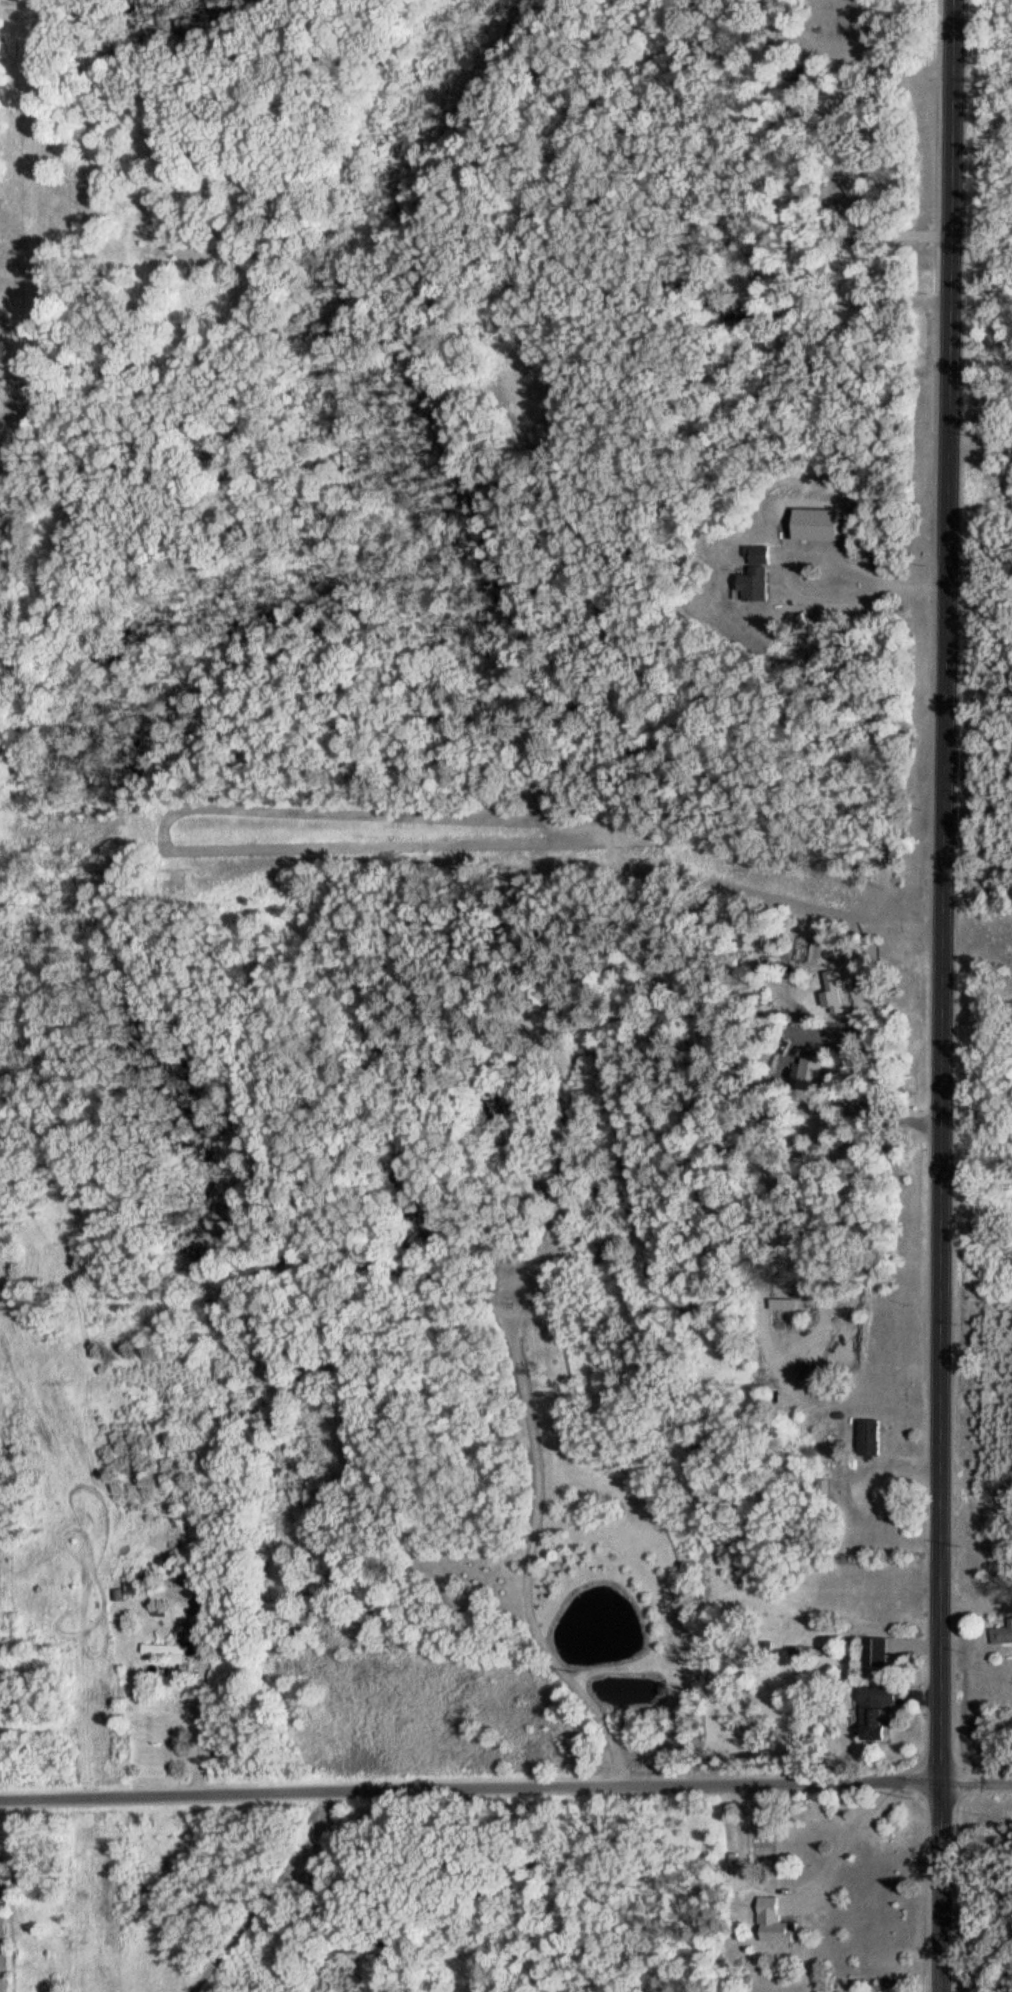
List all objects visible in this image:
building: (816, 105)
building: (740, 313)
building: (760, 572)
road: (942, 892)
building: (865, 1438)
building: (819, 1487)
building: (999, 1635)
building: (170, 1649)
building: (877, 1650)
building: (880, 1708)
road: (506, 1790)
road: (944, 1888)
building: (777, 1921)

